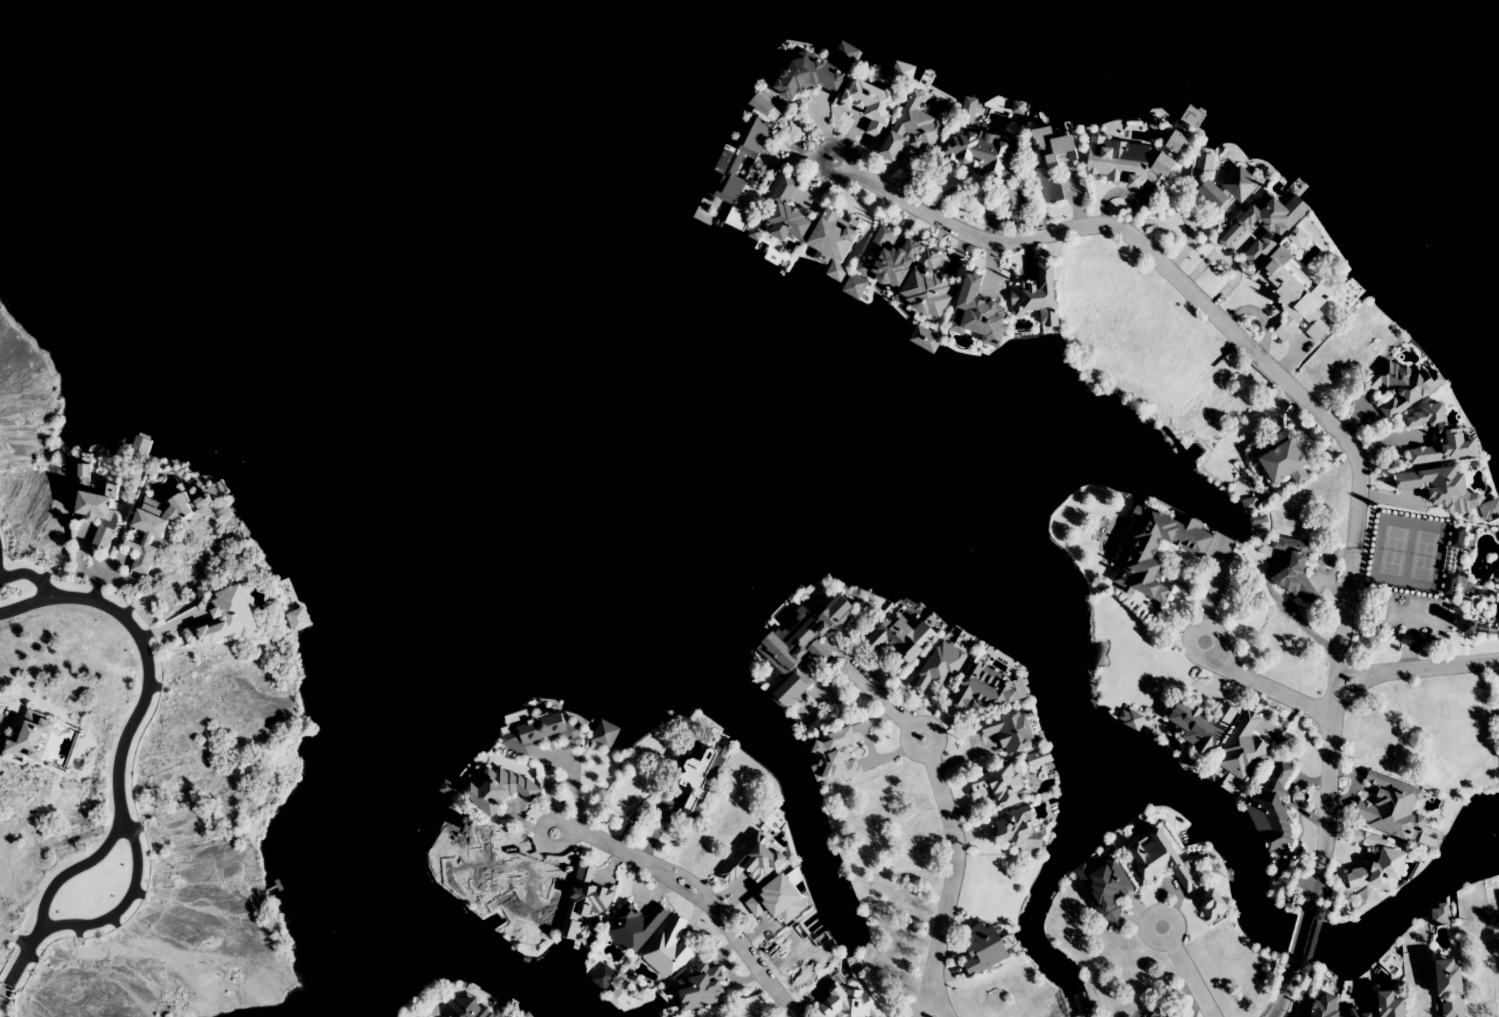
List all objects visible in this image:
building: (844, 63)
building: (776, 70)
building: (805, 76)
building: (903, 82)
building: (932, 92)
building: (871, 106)
building: (999, 114)
building: (1192, 125)
building: (913, 131)
building: (741, 134)
building: (1043, 135)
building: (980, 154)
building: (1137, 159)
building: (727, 169)
building: (1240, 189)
building: (1213, 195)
building: (1010, 198)
building: (788, 212)
building: (1297, 214)
building: (706, 218)
building: (1497, 239)
building: (778, 261)
building: (908, 272)
building: (834, 278)
building: (860, 292)
building: (1039, 297)
building: (1345, 297)
building: (1294, 300)
building: (978, 320)
building: (1052, 326)
road: (1246, 344)
building: (924, 345)
building: (1404, 388)
building: (1452, 436)
building: (141, 449)
building: (1283, 459)
building: (1449, 493)
building: (218, 499)
building: (202, 501)
building: (93, 504)
building: (154, 529)
building: (1155, 550)
building: (1453, 562)
building: (1294, 567)
road: (31, 576)
building: (908, 613)
building: (225, 620)
building: (296, 620)
building: (781, 623)
road: (138, 638)
building: (897, 641)
building: (961, 645)
building: (800, 650)
building: (941, 668)
road: (1416, 668)
building: (1006, 671)
road: (1261, 686)
building: (982, 691)
building: (1127, 721)
building: (1201, 725)
building: (531, 731)
building: (1010, 732)
building: (606, 739)
building: (1244, 750)
building: (835, 759)
building: (1036, 764)
building: (1187, 764)
building: (700, 781)
building: (1226, 785)
building: (1003, 786)
building: (498, 790)
building: (450, 796)
building: (1043, 799)
building: (1392, 809)
road: (951, 825)
building: (1272, 830)
building: (1017, 831)
road: (1325, 834)
building: (756, 861)
road: (79, 863)
building: (1177, 867)
building: (1383, 879)
building: (1107, 885)
road: (696, 892)
road: (127, 894)
building: (584, 901)
building: (1365, 906)
building: (635, 926)
road: (1300, 934)
building: (669, 948)
building: (985, 948)
building: (1388, 964)
road: (16, 965)
road: (1187, 971)
building: (601, 977)
building: (1354, 981)
building: (701, 987)
building: (1451, 988)
building: (624, 999)
road: (1283, 999)
building: (847, 1004)
building: (1392, 1004)
building: (1325, 1005)
building: (463, 1010)
building: (1161, 1012)
building: (1360, 1013)
building: (411, 1016)

